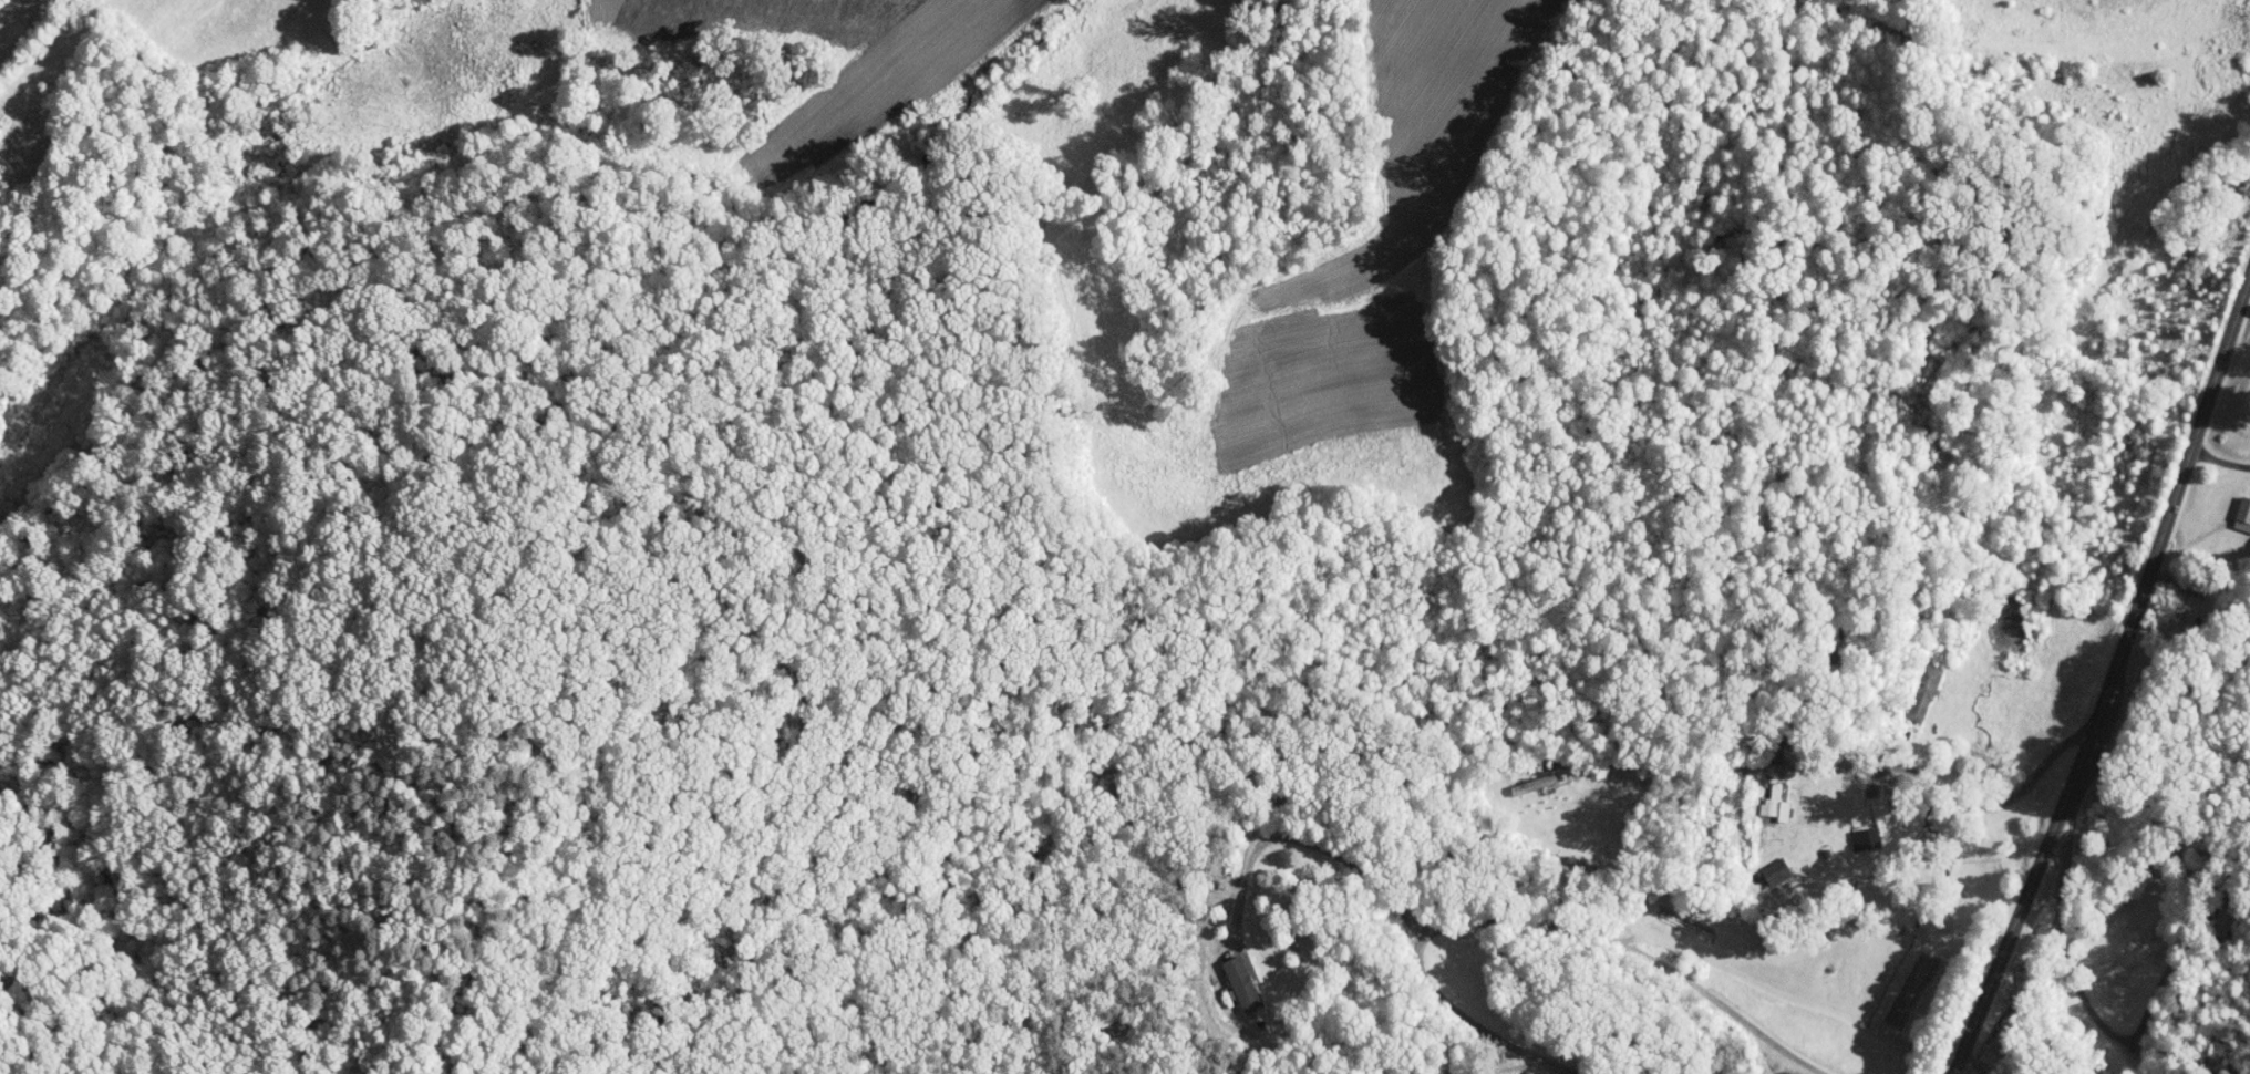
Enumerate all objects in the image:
road: (2221, 461)
building: (2229, 502)
road: (2112, 681)
building: (1909, 685)
road: (1933, 786)
building: (1761, 797)
building: (1849, 834)
road: (1313, 843)
building: (1759, 865)
road: (2045, 913)
road: (1567, 920)
building: (1226, 972)

